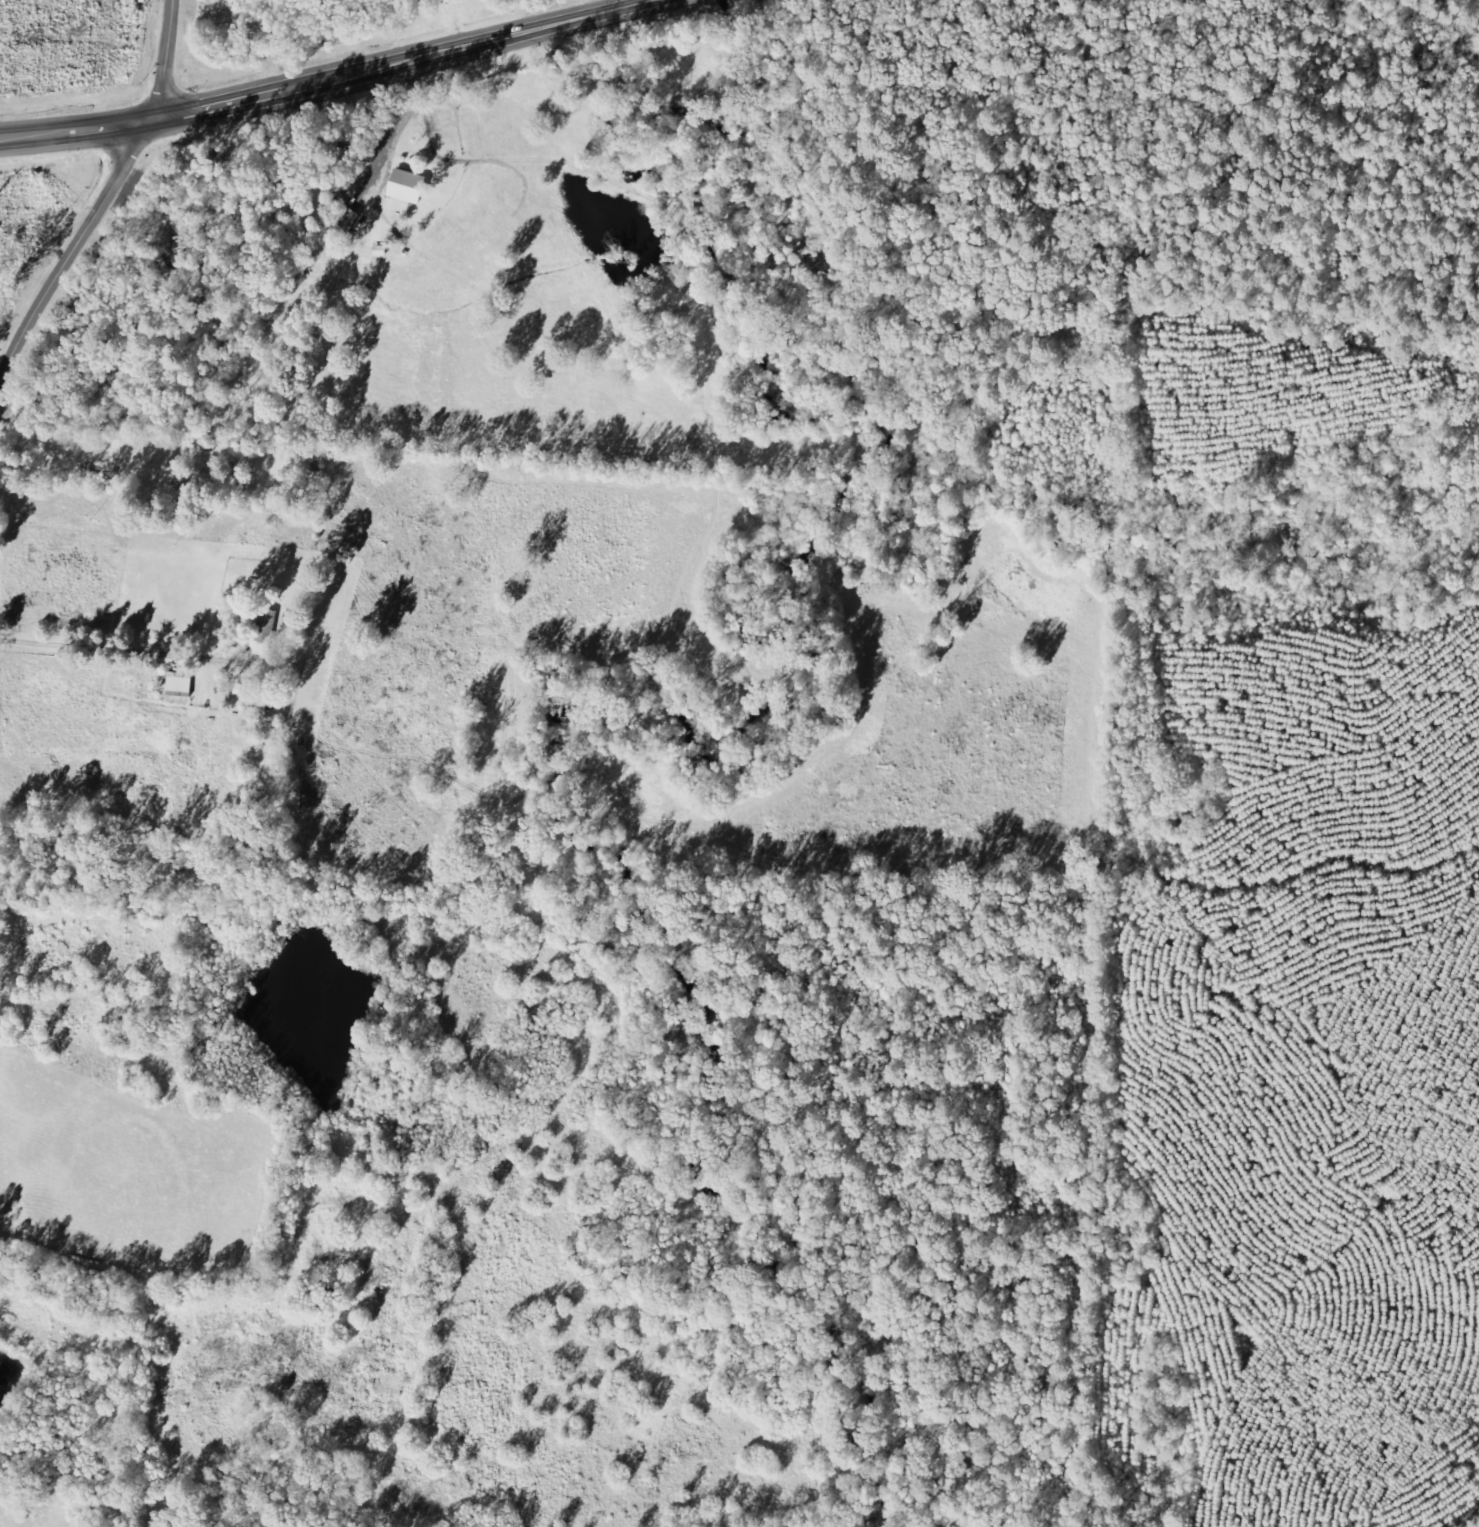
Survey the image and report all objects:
road: (321, 80)
building: (412, 188)
road: (103, 198)

